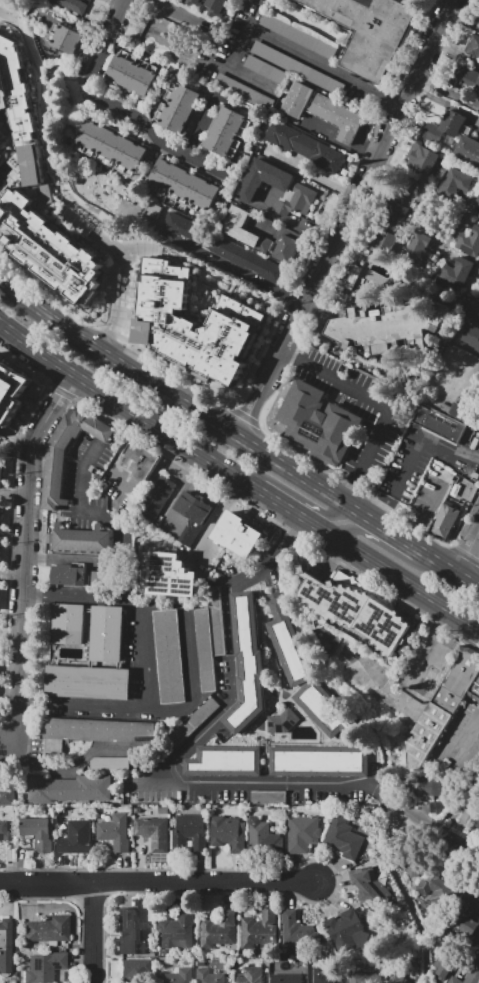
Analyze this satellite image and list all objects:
building: (196, 2)
building: (71, 5)
building: (217, 6)
road: (3, 12)
road: (117, 13)
building: (369, 31)
building: (163, 32)
building: (299, 34)
road: (243, 36)
building: (66, 39)
building: (473, 44)
road: (455, 50)
road: (211, 60)
road: (323, 66)
building: (296, 68)
building: (266, 70)
building: (131, 74)
building: (477, 87)
road: (446, 90)
building: (243, 92)
building: (296, 100)
road: (445, 101)
building: (176, 107)
road: (128, 113)
building: (20, 115)
building: (337, 117)
road: (201, 124)
building: (0, 127)
building: (444, 130)
building: (226, 133)
building: (2, 134)
road: (329, 140)
building: (110, 145)
building: (303, 148)
building: (467, 150)
building: (424, 160)
road: (309, 171)
building: (262, 179)
building: (458, 183)
building: (182, 185)
road: (403, 190)
building: (297, 201)
building: (477, 201)
building: (153, 212)
building: (396, 212)
road: (92, 215)
road: (287, 216)
road: (342, 217)
building: (478, 217)
building: (73, 220)
building: (238, 226)
building: (189, 231)
road: (90, 232)
road: (289, 235)
building: (421, 239)
building: (383, 241)
building: (470, 242)
road: (112, 243)
building: (263, 245)
building: (47, 248)
building: (284, 250)
road: (210, 258)
building: (249, 261)
building: (460, 273)
building: (351, 276)
road: (200, 277)
road: (131, 284)
road: (118, 285)
road: (229, 288)
building: (478, 304)
building: (193, 322)
building: (388, 326)
building: (471, 333)
building: (478, 383)
building: (10, 391)
road: (383, 403)
building: (460, 412)
road: (113, 413)
building: (317, 423)
building: (439, 424)
road: (102, 432)
road: (237, 437)
road: (417, 438)
road: (15, 439)
building: (138, 461)
building: (0, 469)
building: (436, 475)
road: (239, 476)
building: (52, 479)
road: (125, 483)
road: (177, 492)
road: (295, 495)
building: (156, 500)
building: (0, 505)
road: (379, 509)
road: (425, 515)
building: (191, 516)
road: (217, 519)
building: (444, 520)
road: (120, 531)
building: (238, 534)
building: (77, 541)
road: (25, 547)
road: (386, 549)
road: (468, 551)
road: (328, 561)
road: (12, 575)
building: (171, 575)
building: (68, 576)
building: (97, 576)
road: (408, 602)
building: (356, 613)
building: (69, 628)
building: (105, 637)
building: (207, 639)
building: (289, 643)
road: (428, 650)
road: (189, 652)
building: (168, 656)
building: (245, 663)
road: (142, 668)
road: (369, 670)
building: (86, 683)
building: (443, 706)
building: (324, 708)
building: (278, 721)
building: (94, 732)
road: (466, 735)
road: (17, 741)
road: (185, 745)
road: (8, 753)
building: (97, 761)
building: (223, 761)
building: (318, 761)
road: (72, 766)
building: (430, 787)
building: (70, 789)
building: (6, 795)
building: (266, 796)
road: (390, 803)
building: (434, 807)
building: (467, 812)
building: (477, 824)
building: (4, 831)
building: (190, 832)
building: (227, 832)
building: (113, 833)
building: (302, 833)
building: (38, 834)
building: (158, 836)
building: (264, 836)
road: (441, 836)
building: (78, 837)
building: (343, 837)
road: (157, 884)
building: (368, 885)
building: (436, 889)
building: (467, 916)
building: (289, 927)
building: (48, 930)
building: (219, 930)
building: (346, 930)
building: (176, 931)
building: (128, 932)
road: (94, 933)
building: (260, 933)
building: (4, 944)
building: (45, 967)
building: (132, 970)
building: (469, 973)
building: (323, 975)
building: (396, 975)
building: (205, 976)
building: (250, 976)
building: (176, 977)
building: (364, 977)
building: (286, 979)

